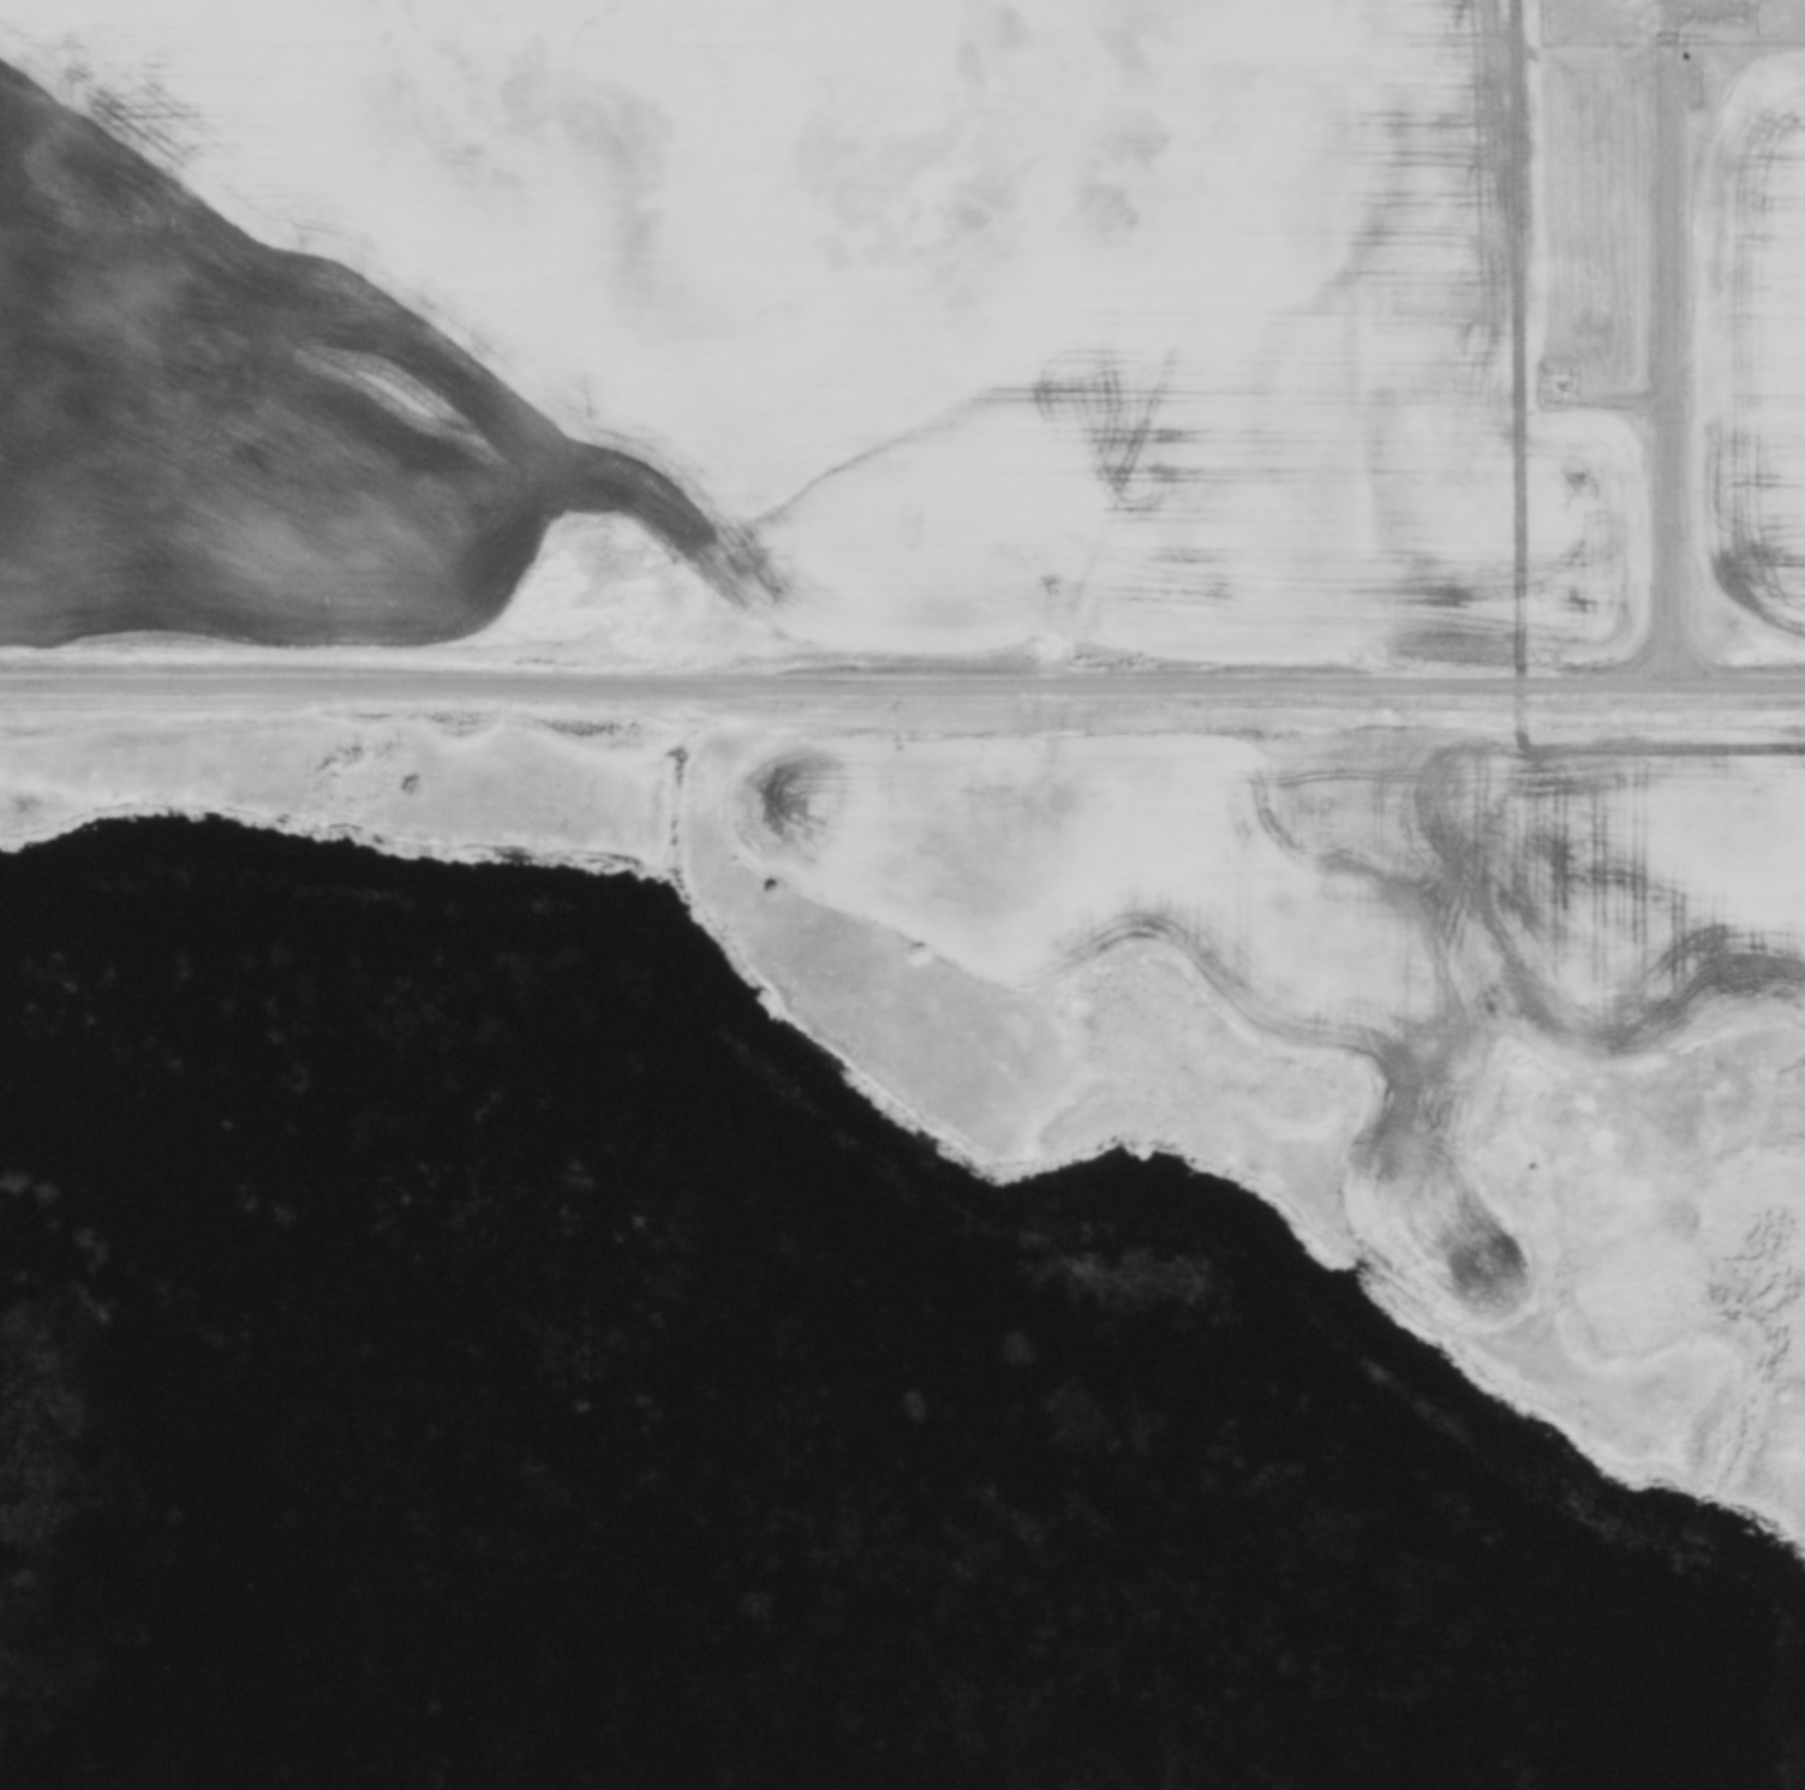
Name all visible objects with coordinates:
road: (1668, 341)
helipad: (1568, 395)
road: (902, 685)

